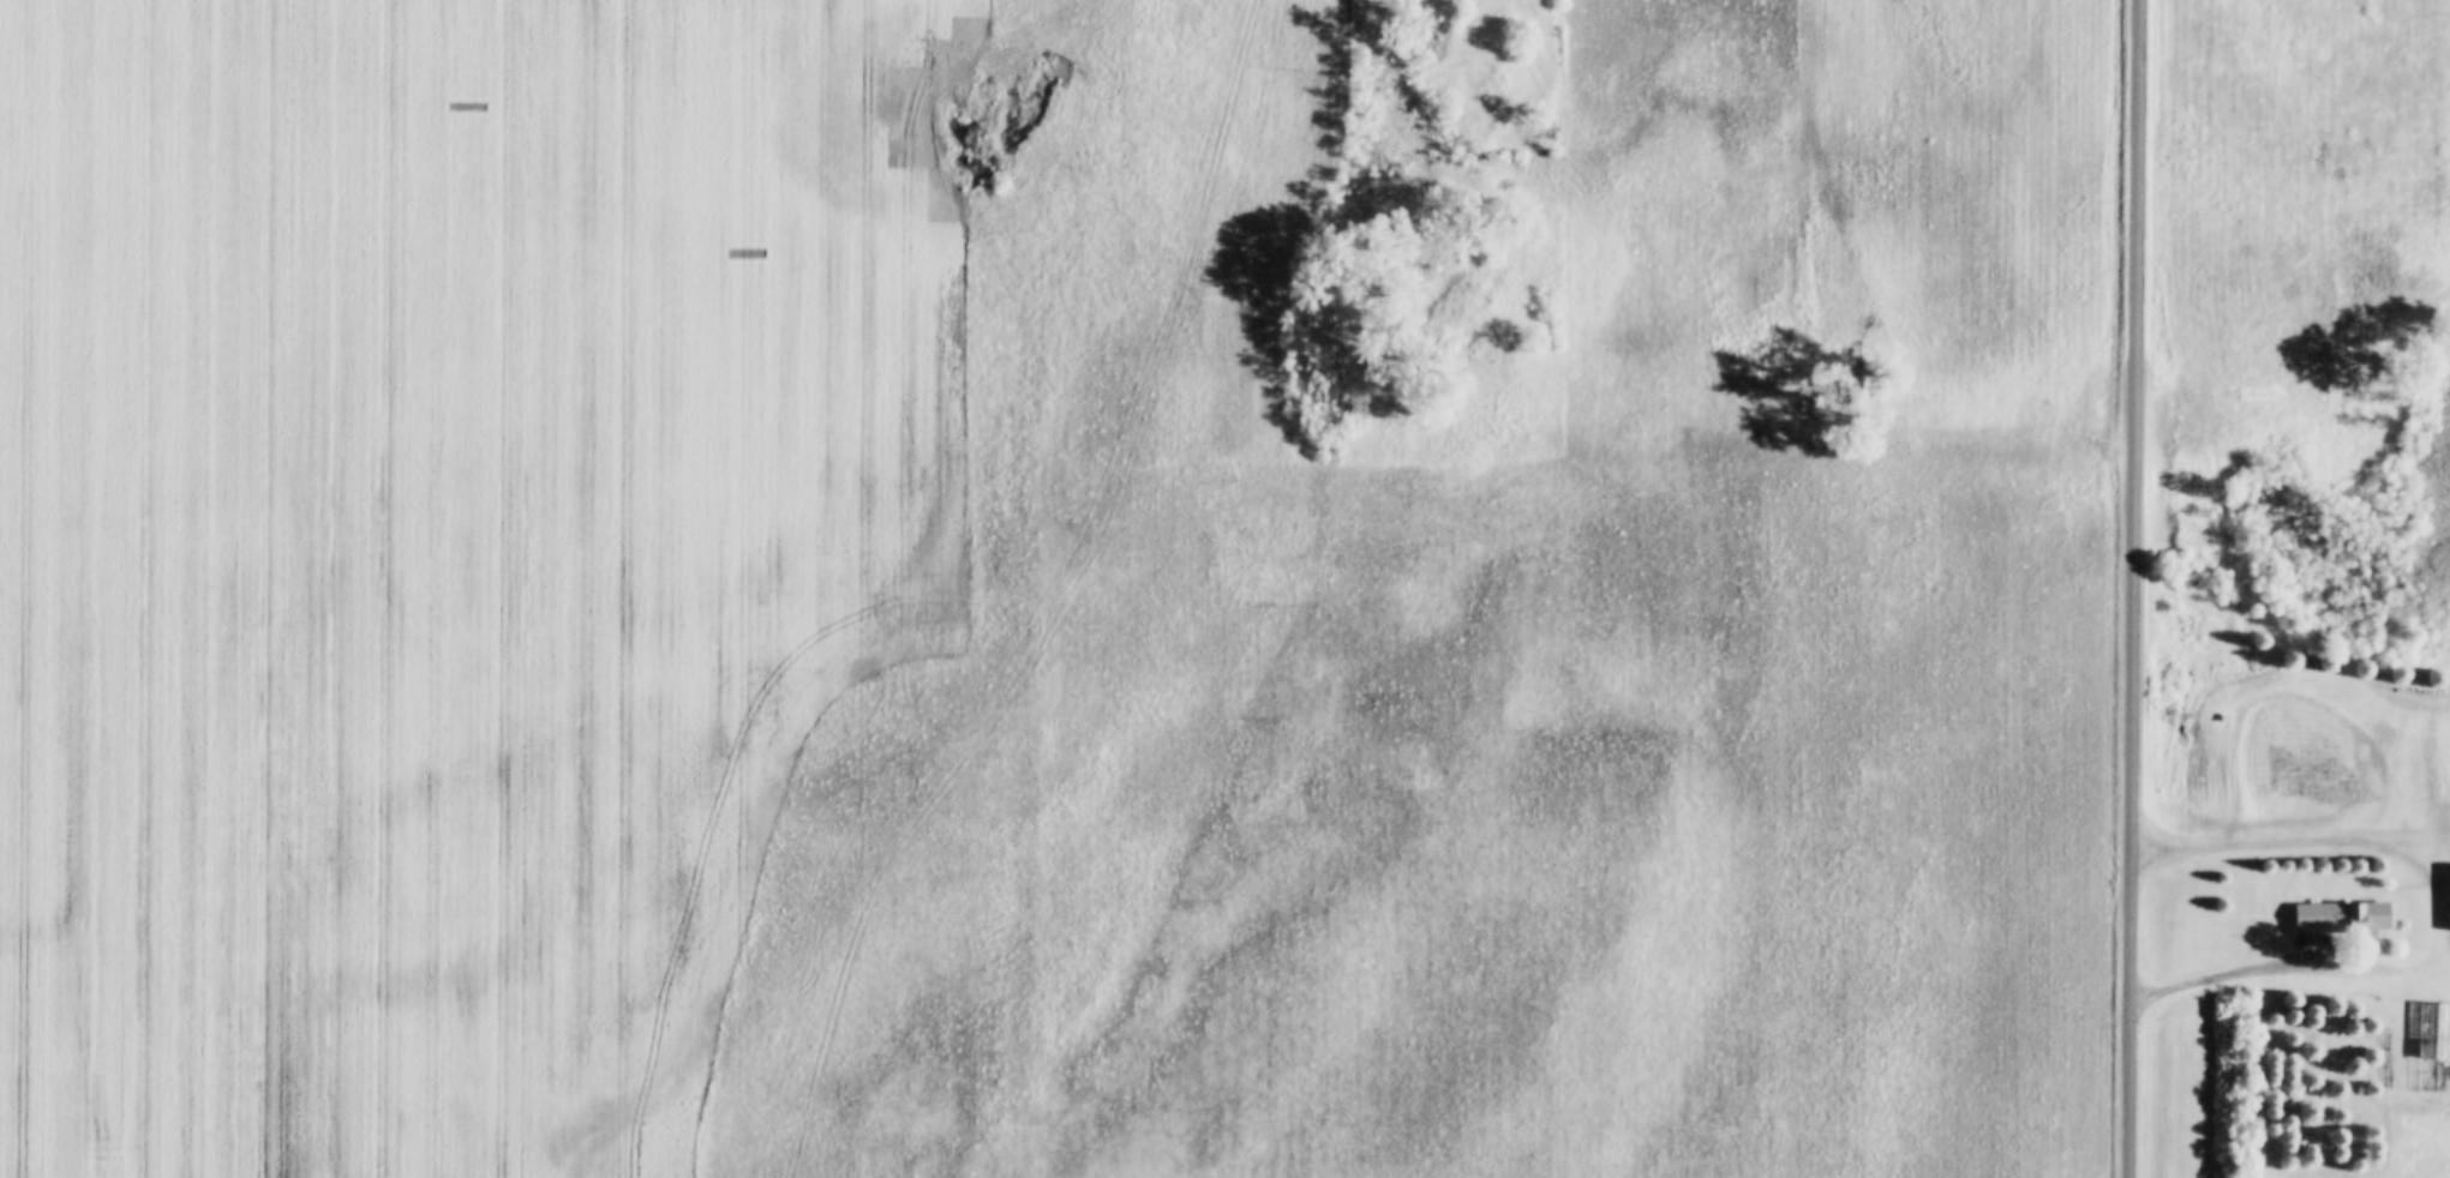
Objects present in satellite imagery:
road: (2137, 588)
road: (2308, 843)
building: (2337, 916)
road: (2385, 964)
road: (2235, 973)
building: (2431, 1030)

